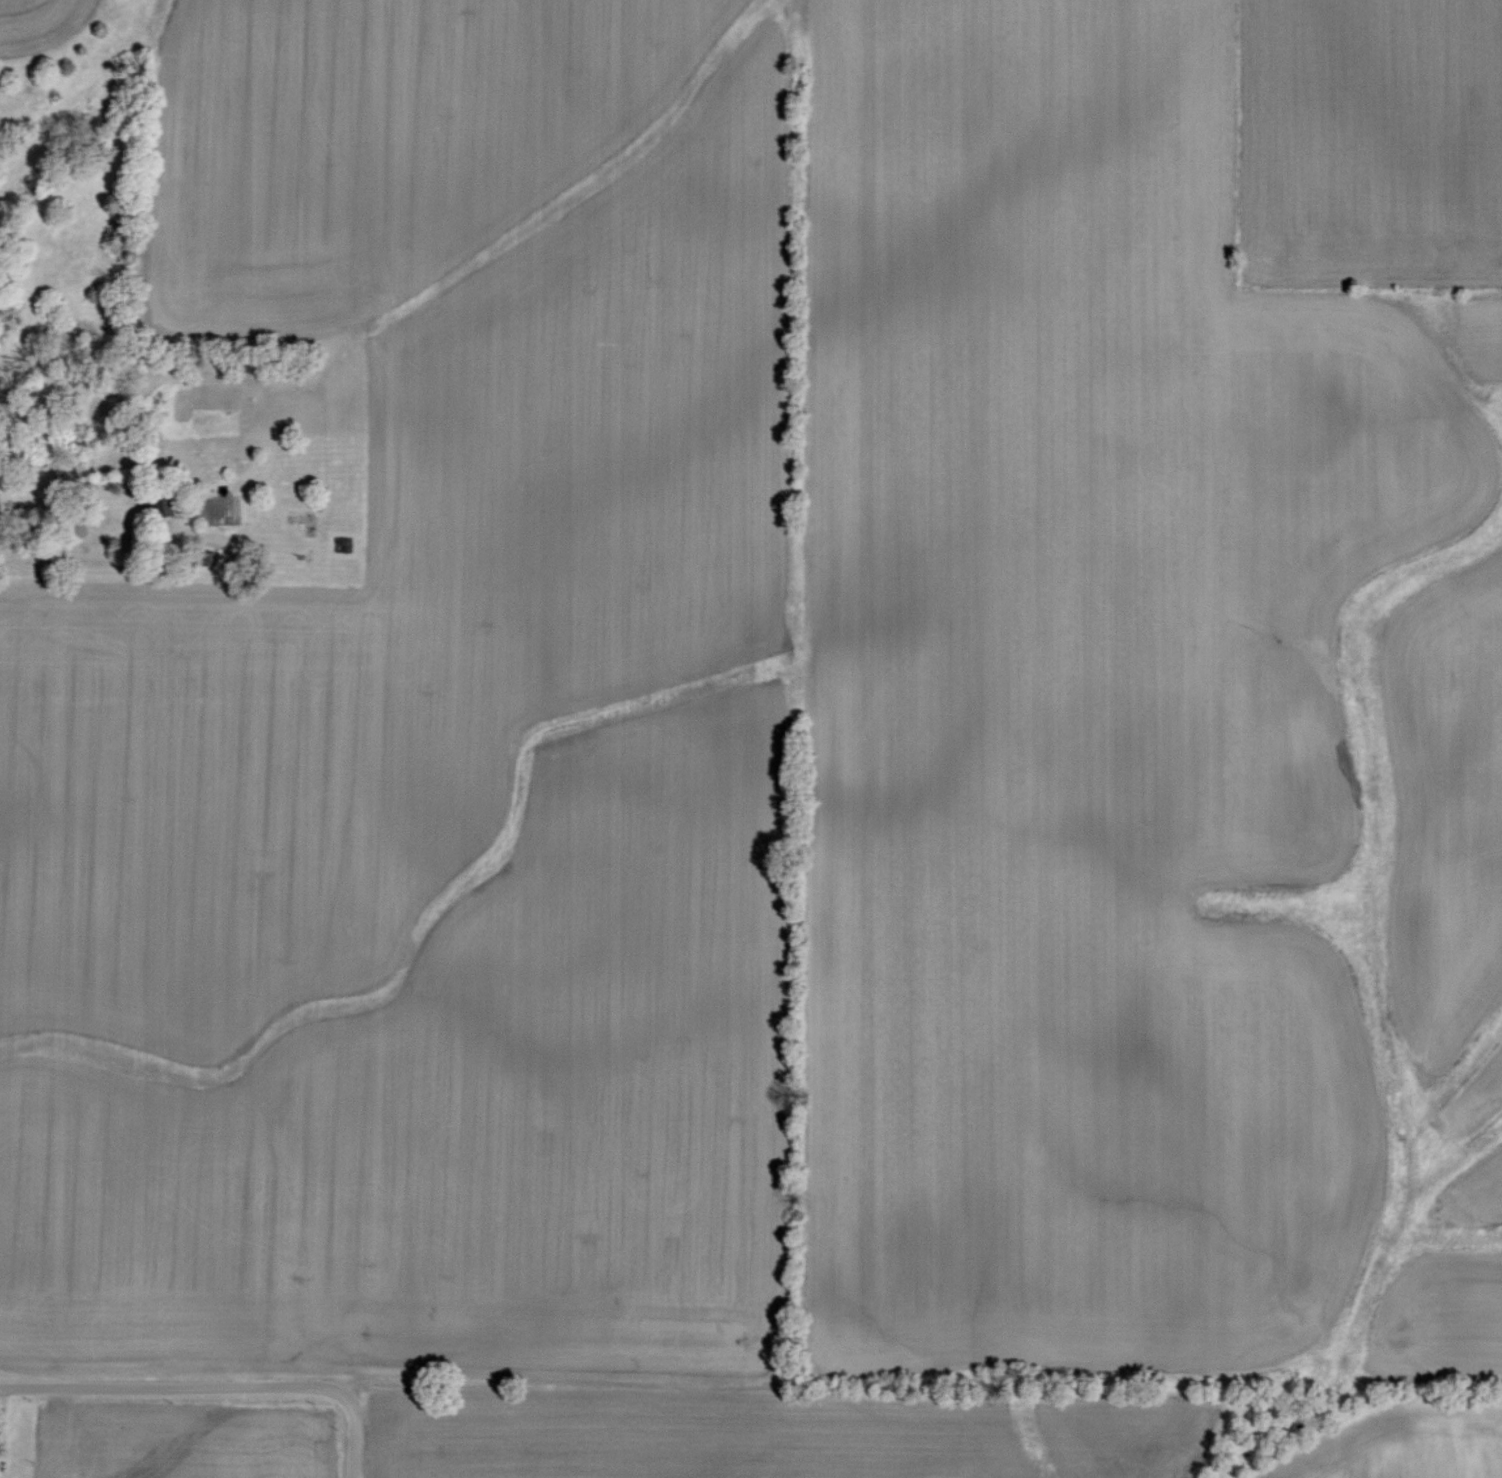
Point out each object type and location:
building: (157, 506)
road: (100, 528)
road: (174, 1388)
road: (354, 1438)

